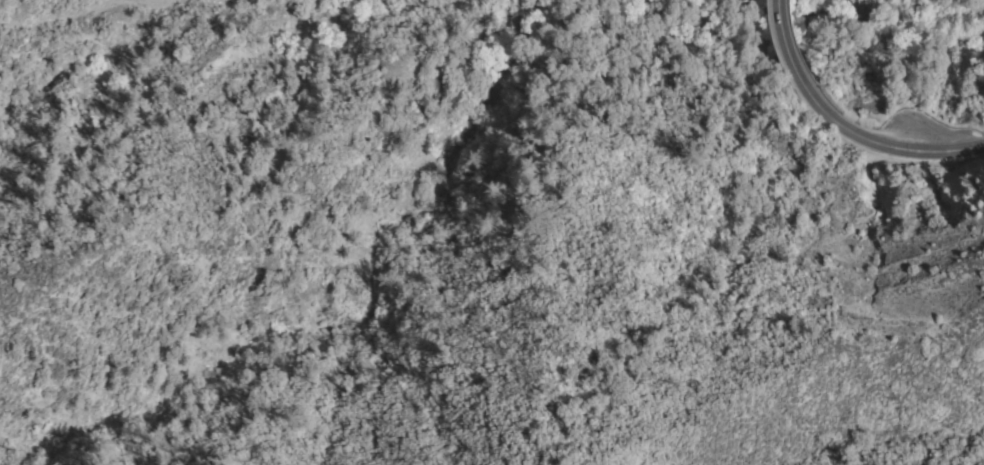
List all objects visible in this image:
road: (782, 39)
road: (879, 143)

